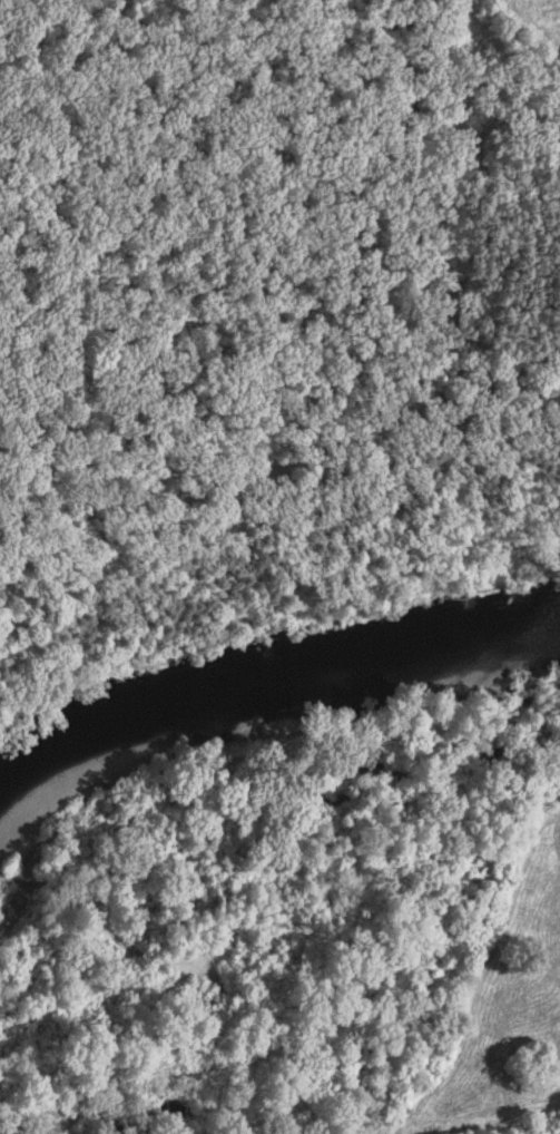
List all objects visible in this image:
river: (264, 666)

